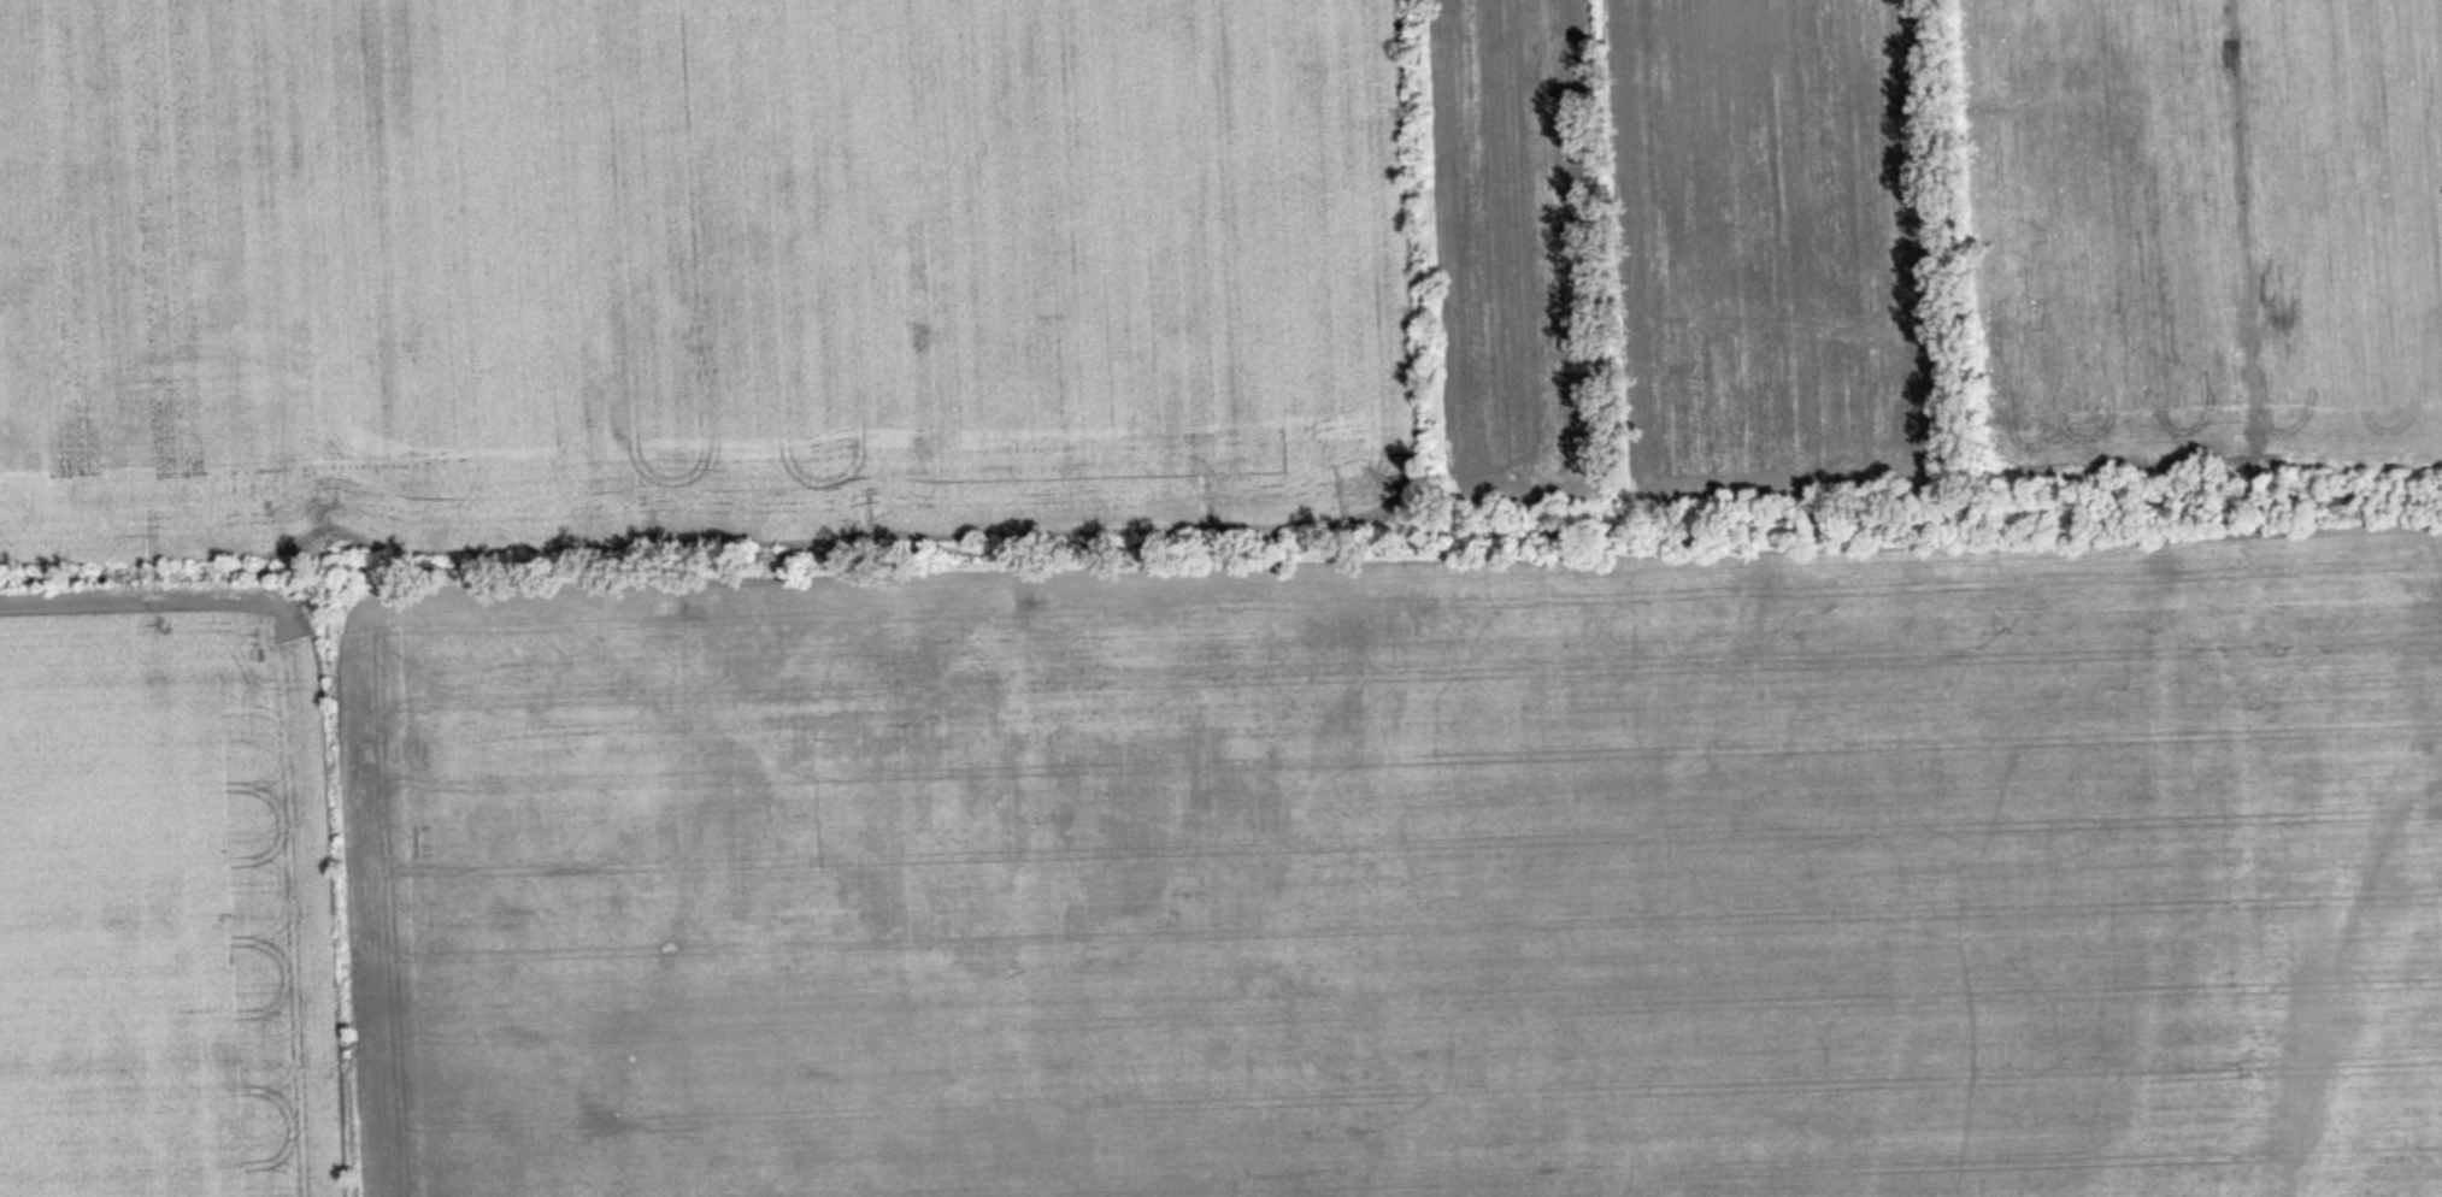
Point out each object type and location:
building: (847, 1138)

